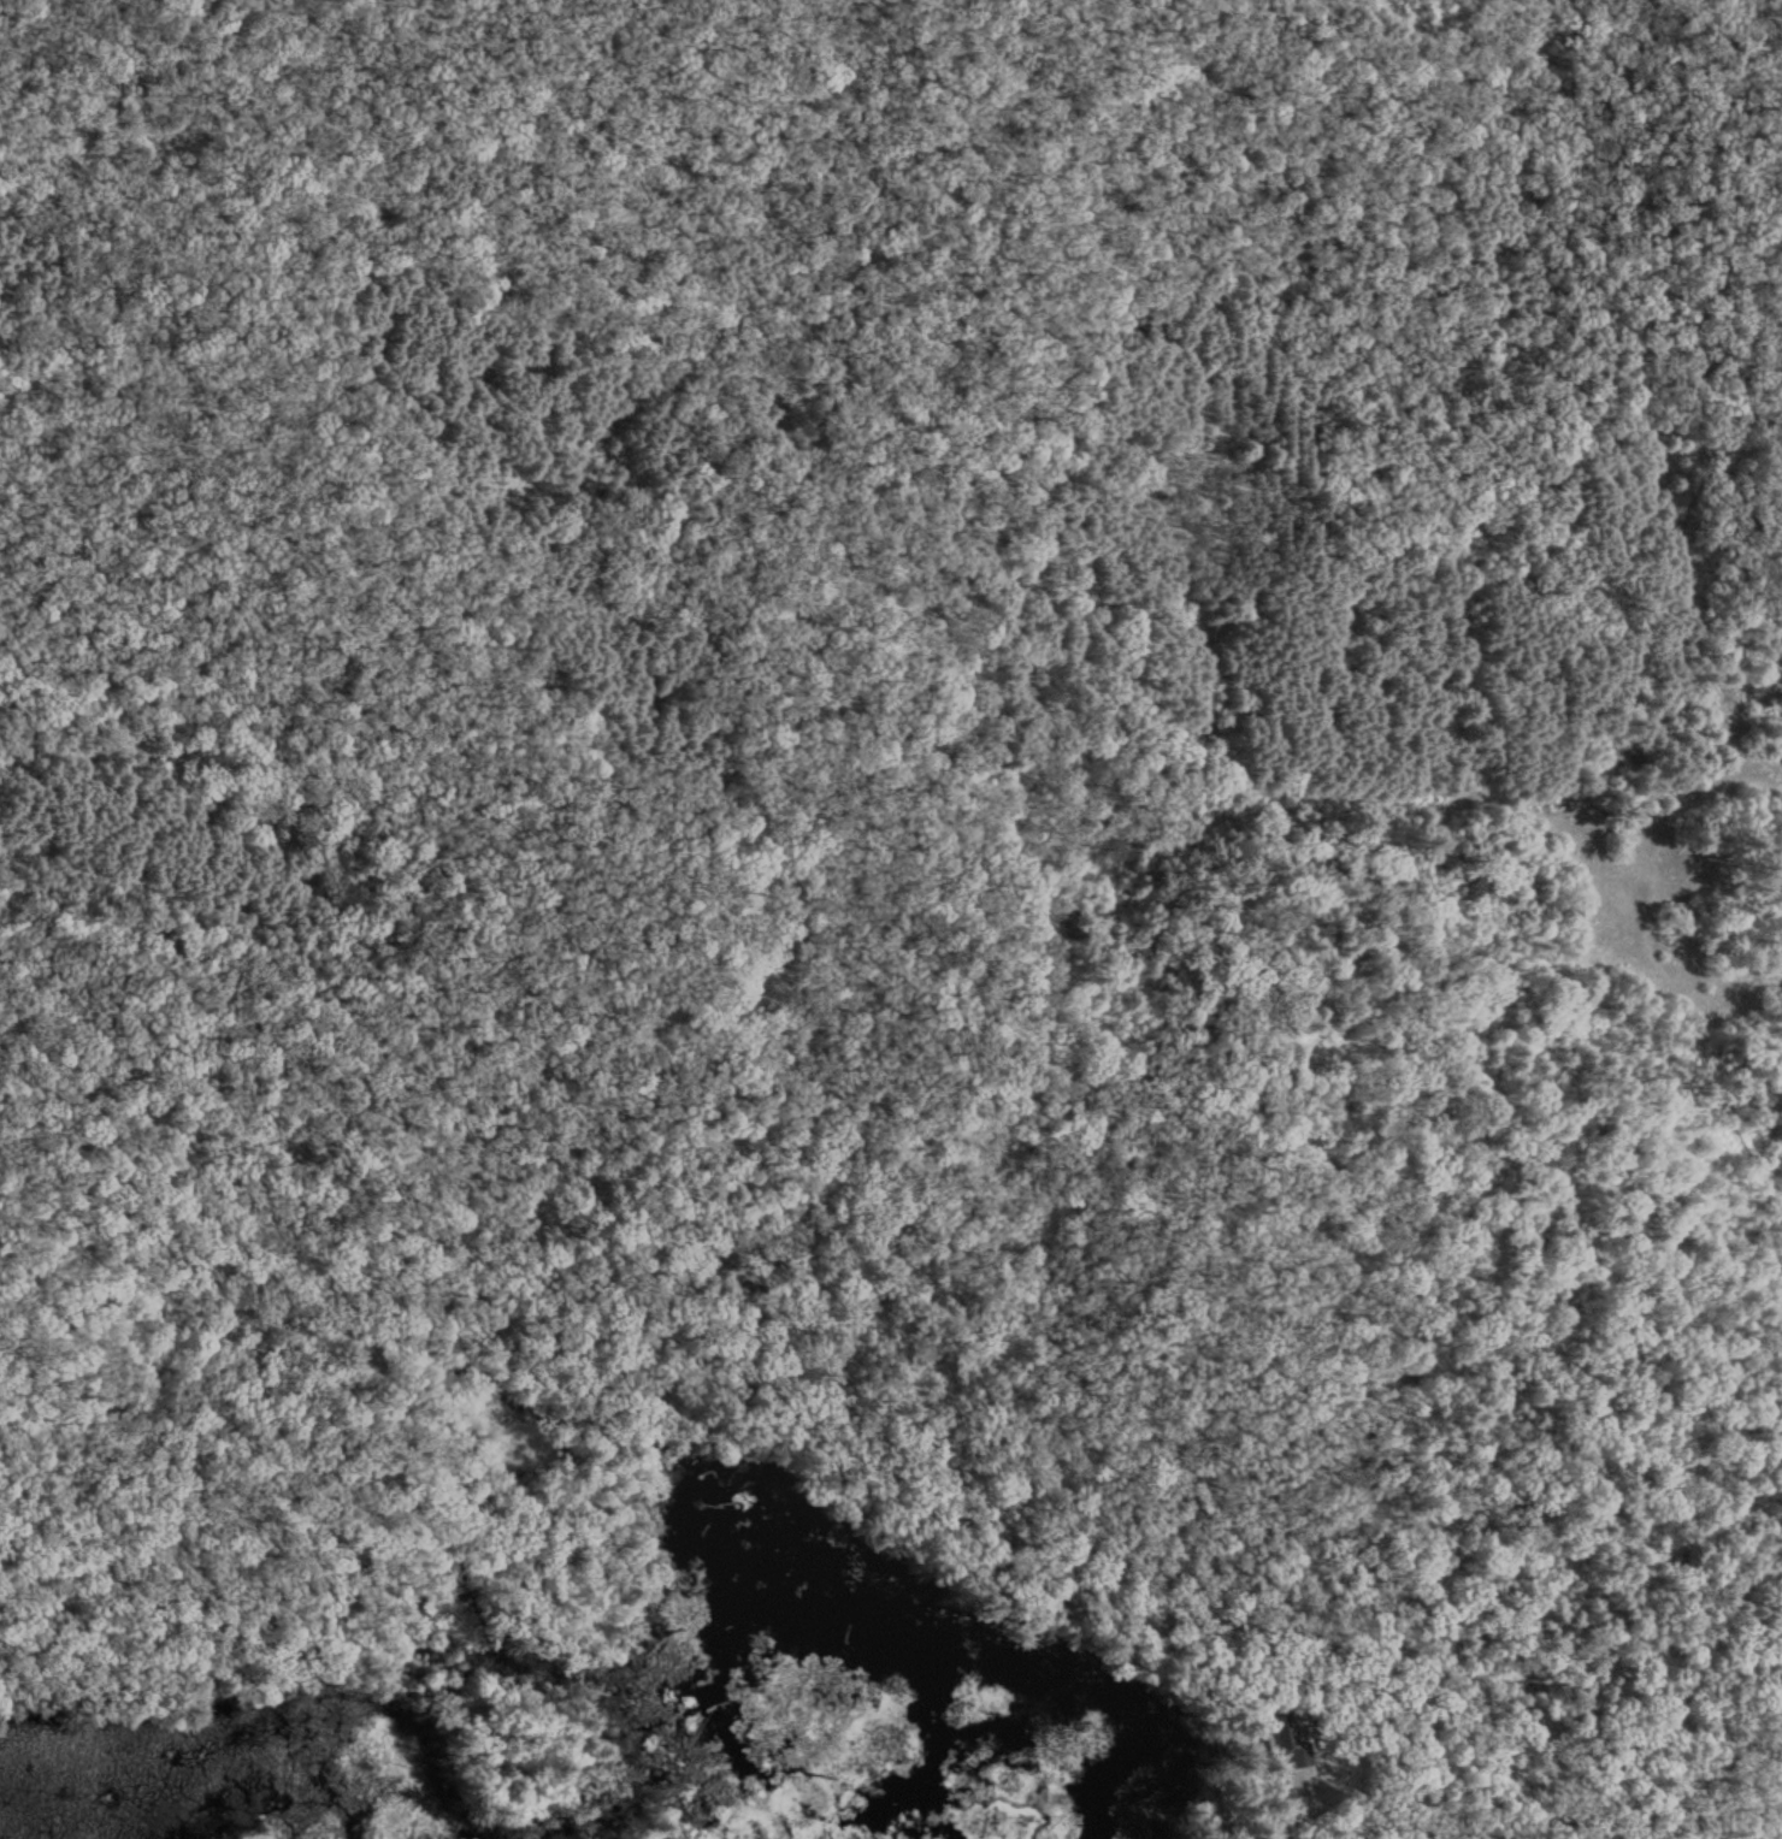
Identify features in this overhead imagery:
building: (1280, 1740)
road: (1291, 1813)

